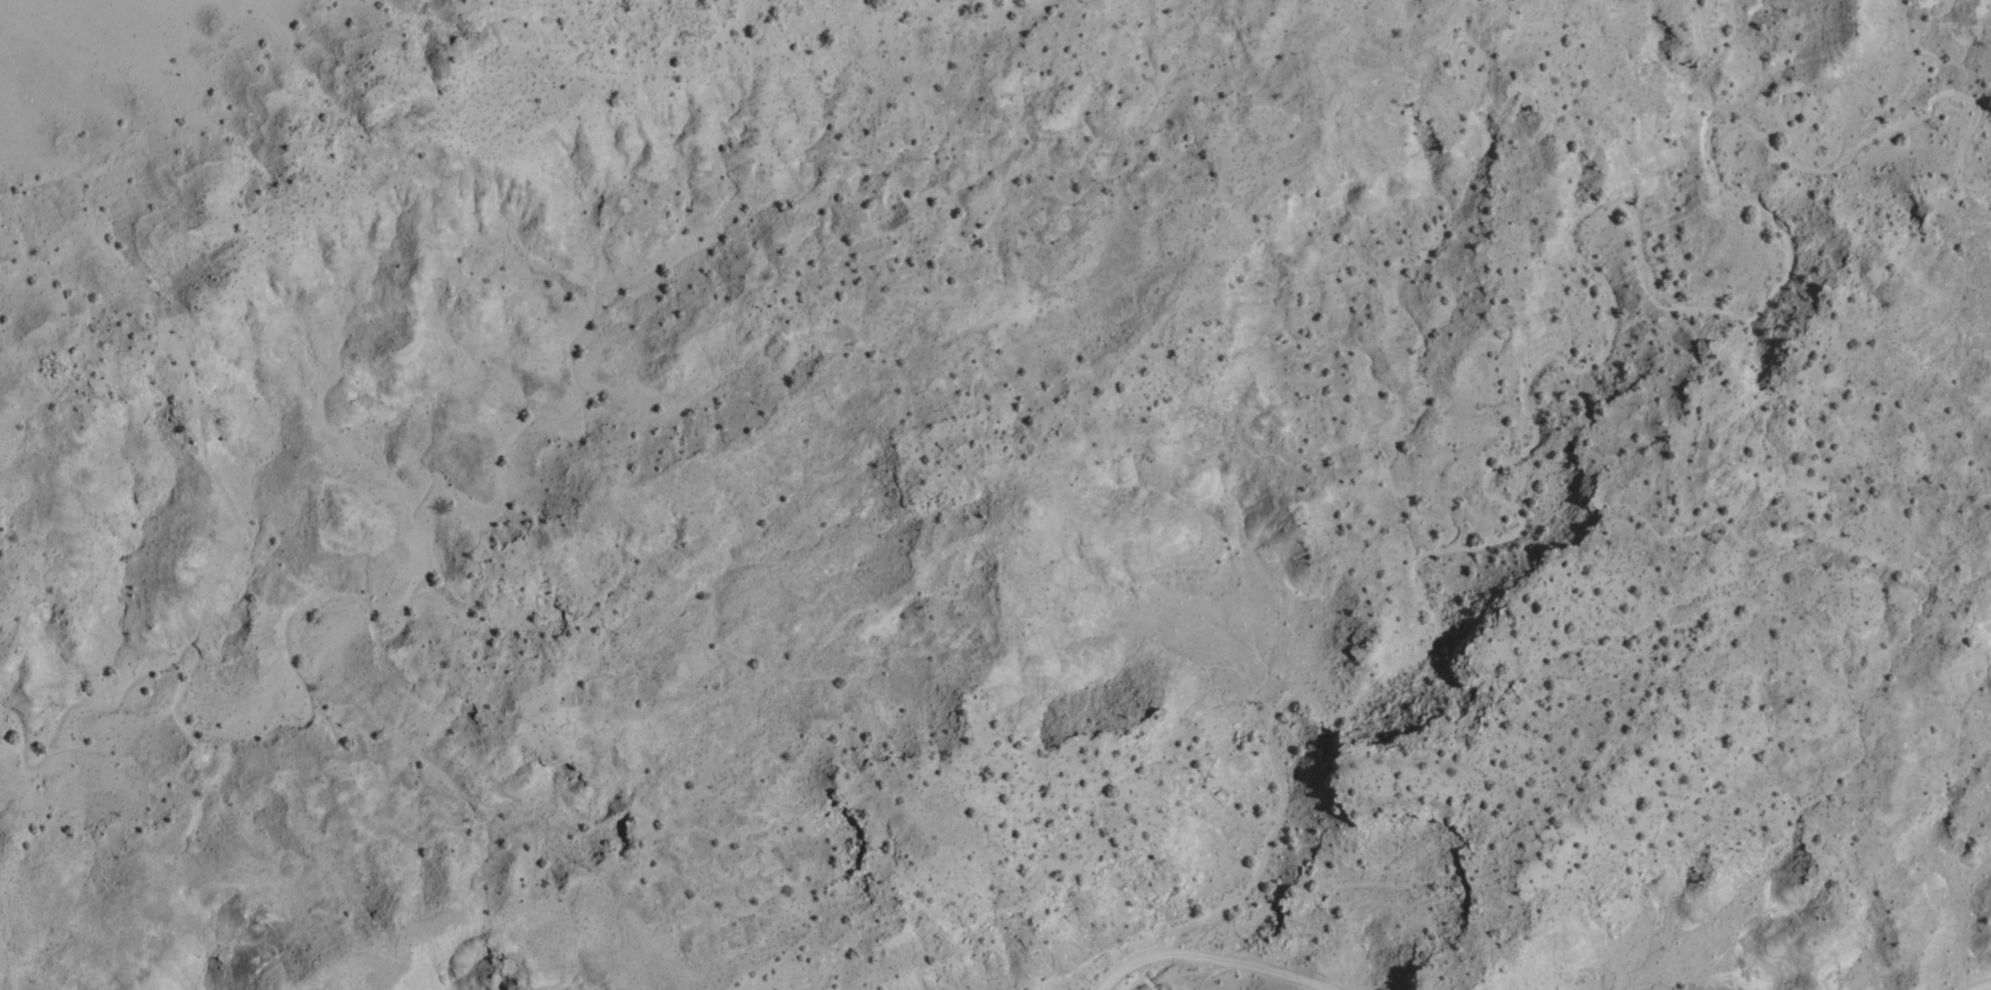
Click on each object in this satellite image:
road: (1216, 950)
road: (1976, 983)

